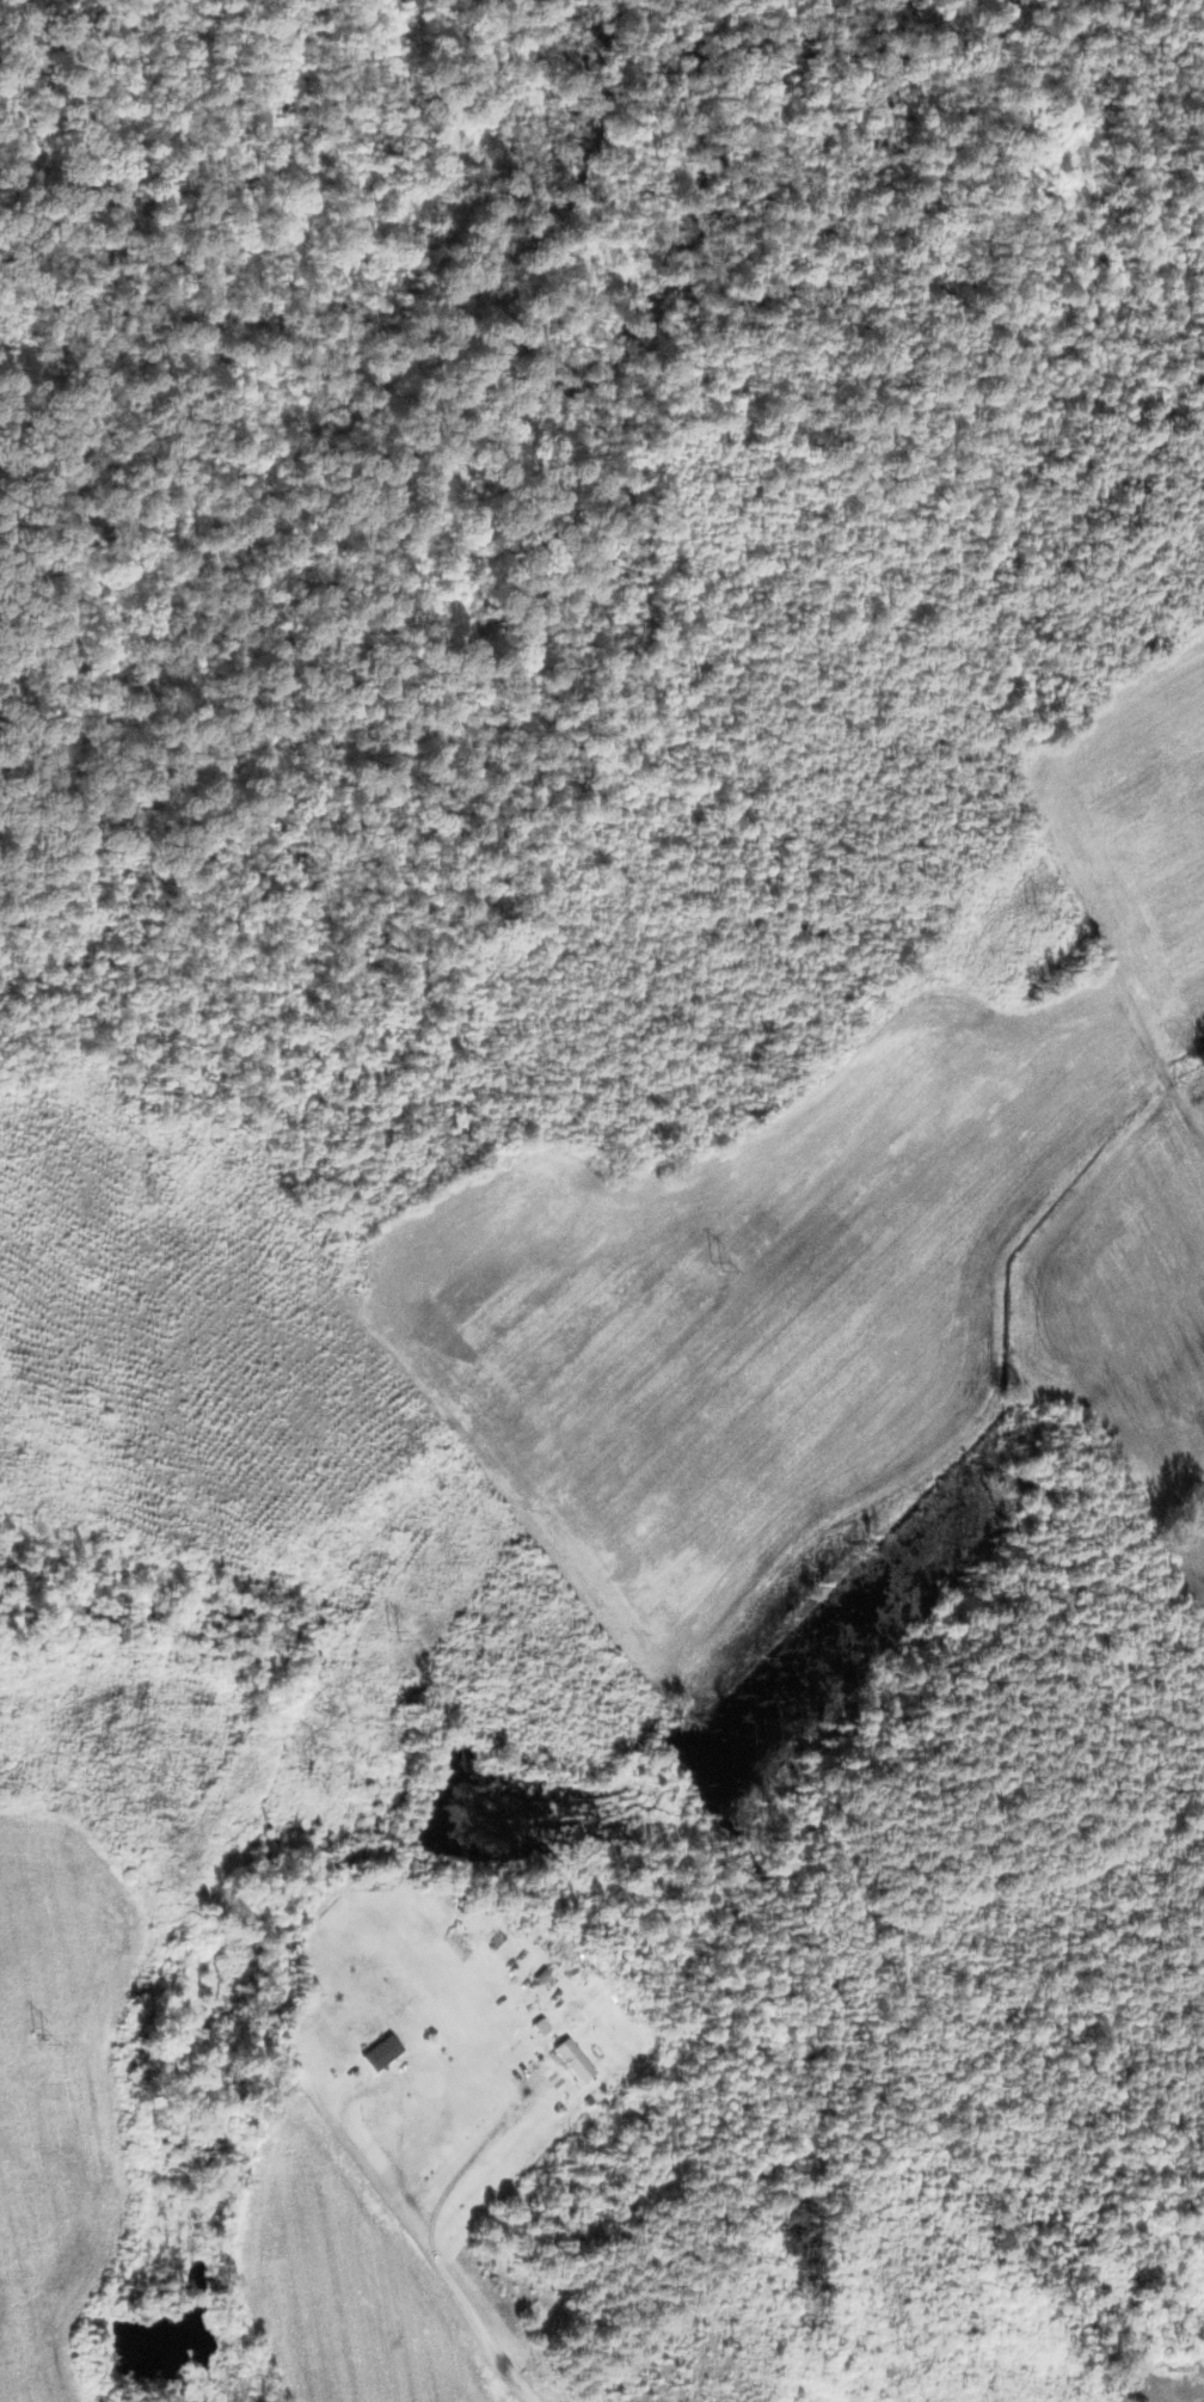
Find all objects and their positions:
power tower: (1034, 903)
power tower: (723, 1267)
power tower: (394, 1630)
building: (463, 1943)
power tower: (42, 2036)
building: (386, 2055)
building: (580, 2059)

